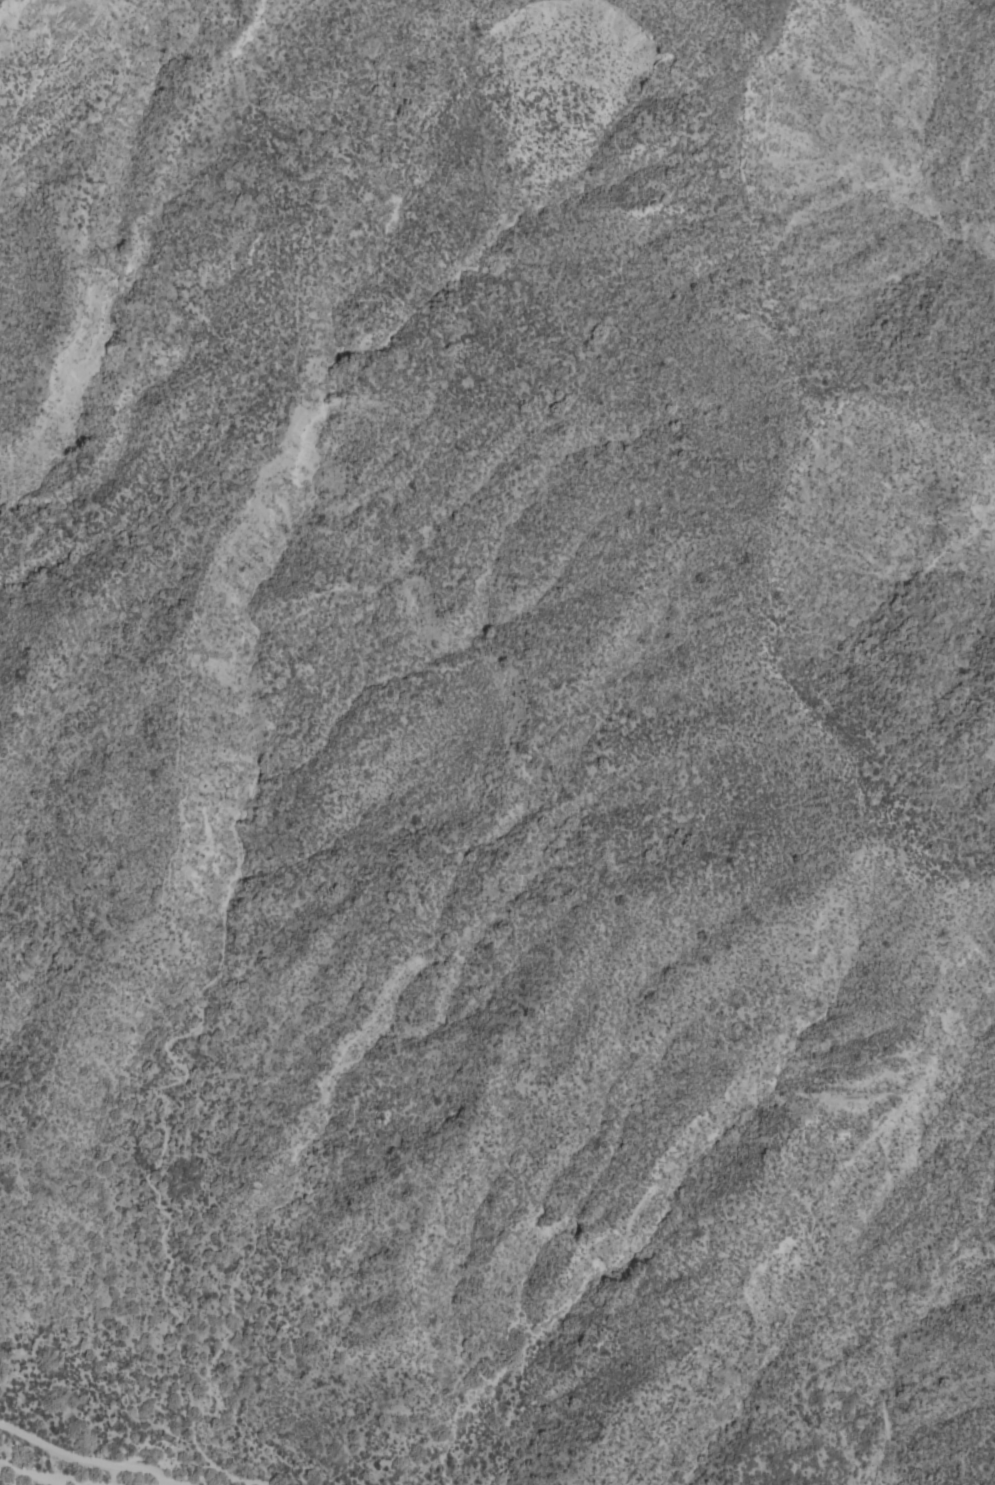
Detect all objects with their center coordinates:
road: (82, 1452)

